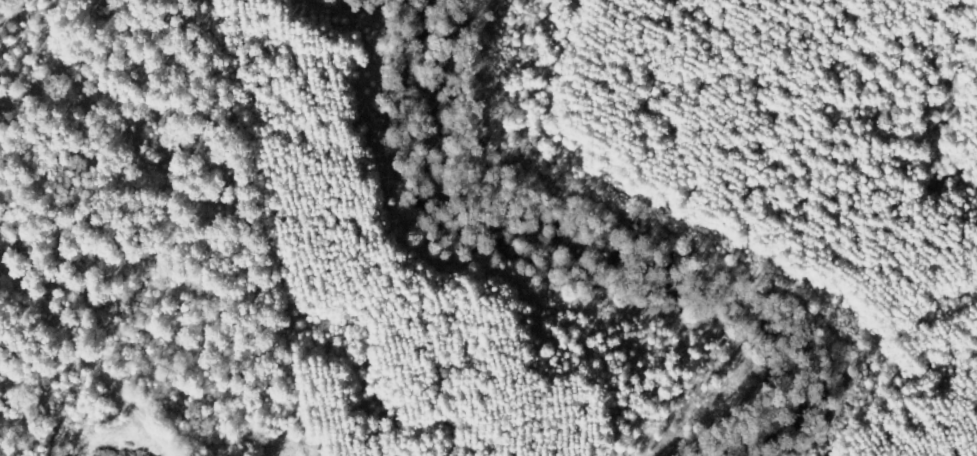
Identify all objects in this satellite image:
road: (114, 326)

